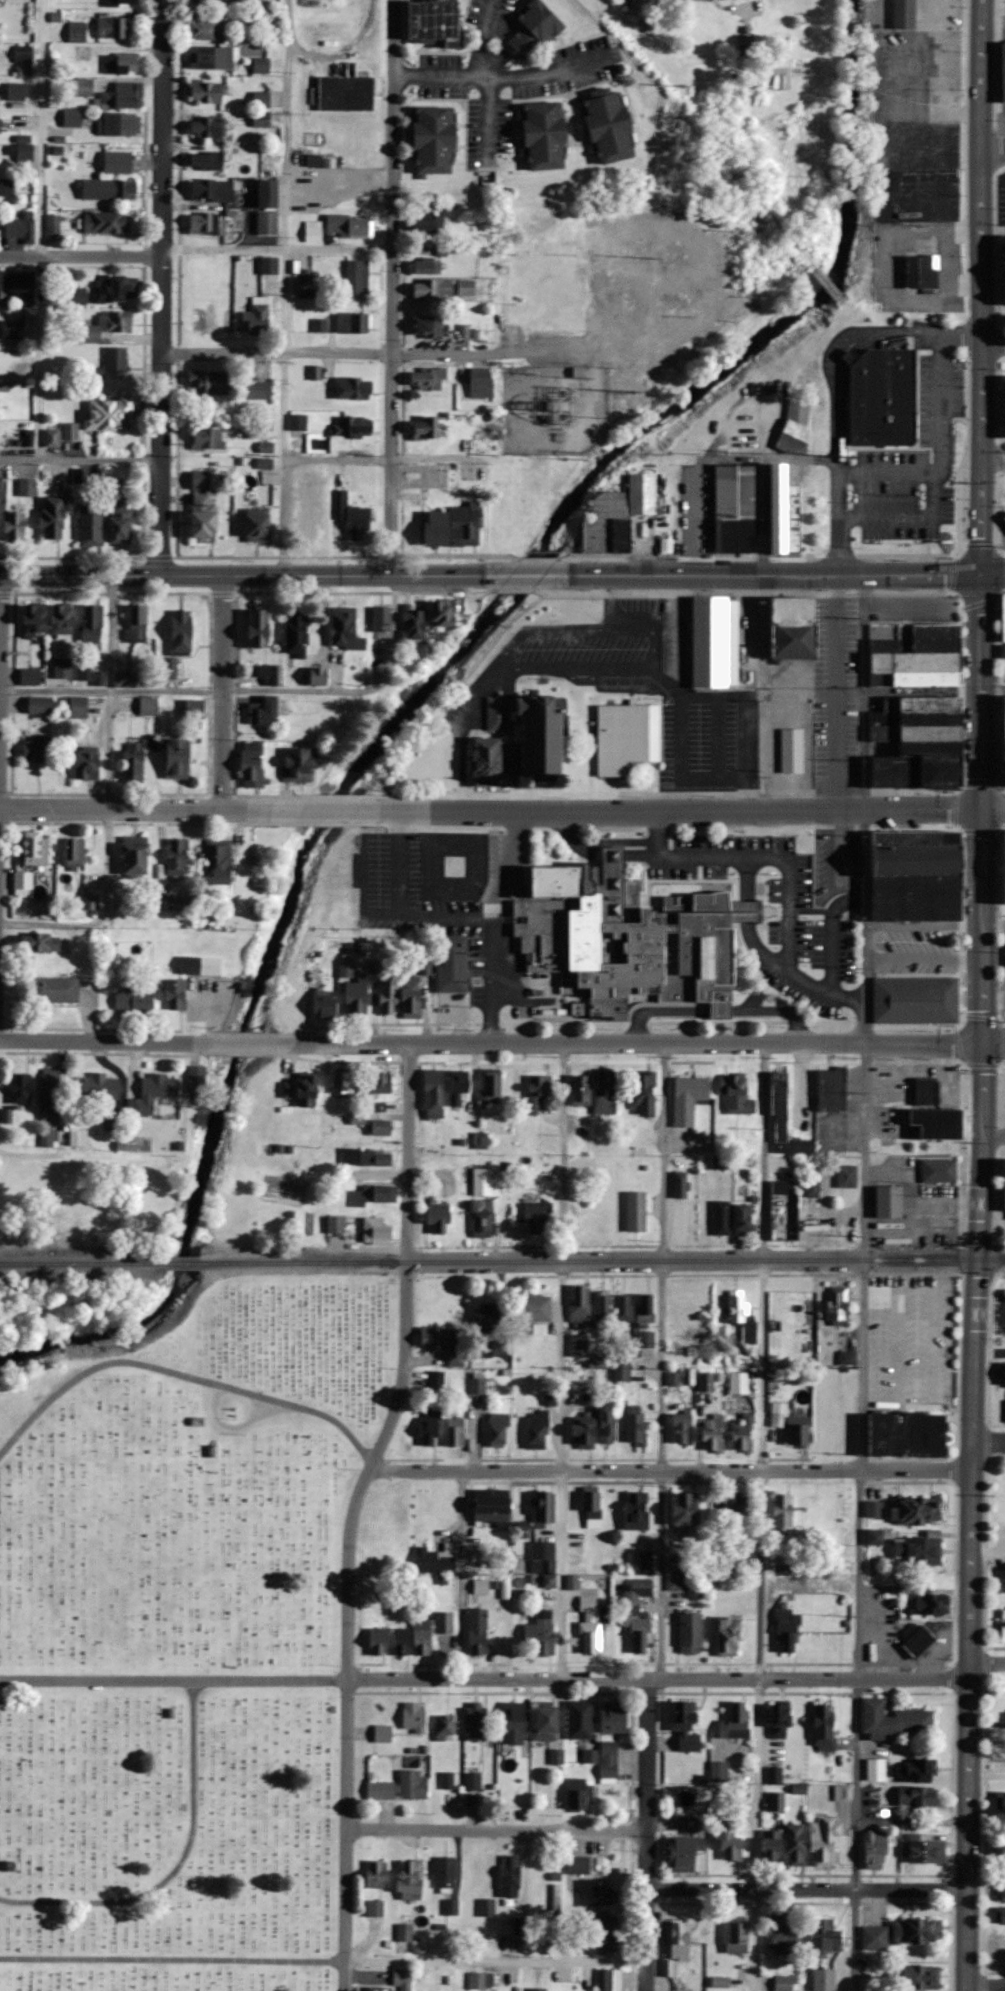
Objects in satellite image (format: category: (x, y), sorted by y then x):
building: (701, 0)
building: (217, 1)
building: (121, 3)
road: (995, 3)
road: (747, 8)
building: (905, 14)
building: (435, 22)
building: (112, 29)
building: (209, 30)
building: (534, 30)
building: (77, 32)
road: (480, 41)
building: (24, 54)
building: (211, 58)
building: (265, 62)
building: (121, 64)
building: (1002, 70)
road: (502, 81)
building: (84, 88)
building: (16, 92)
building: (207, 92)
building: (346, 94)
building: (121, 97)
building: (261, 100)
building: (72, 118)
building: (261, 119)
road: (485, 122)
building: (119, 125)
building: (207, 126)
building: (0, 127)
road: (164, 127)
building: (611, 129)
building: (546, 136)
building: (436, 141)
building: (25, 148)
road: (995, 151)
building: (206, 160)
building: (314, 161)
building: (118, 163)
road: (394, 176)
road: (339, 179)
building: (6, 187)
building: (122, 190)
building: (212, 190)
building: (268, 194)
building: (434, 220)
building: (267, 223)
building: (107, 224)
building: (207, 224)
building: (351, 227)
building: (21, 229)
building: (313, 231)
road: (277, 248)
road: (81, 255)
building: (269, 266)
building: (427, 267)
building: (920, 269)
building: (212, 271)
building: (302, 276)
building: (357, 276)
building: (13, 280)
road: (285, 284)
building: (0, 285)
road: (984, 286)
road: (38, 288)
building: (467, 288)
building: (434, 289)
building: (115, 290)
building: (1004, 295)
building: (76, 296)
road: (162, 304)
building: (260, 315)
building: (229, 320)
building: (353, 324)
building: (320, 325)
building: (107, 326)
building: (429, 327)
building: (12, 329)
road: (994, 339)
road: (277, 354)
road: (517, 354)
road: (831, 357)
building: (116, 360)
building: (428, 379)
building: (210, 383)
building: (481, 386)
building: (354, 388)
building: (259, 390)
building: (880, 394)
power substation: (553, 407)
building: (109, 415)
building: (298, 422)
building: (796, 423)
building: (351, 428)
building: (426, 429)
building: (53, 439)
building: (209, 440)
road: (994, 455)
road: (1003, 456)
road: (20, 458)
road: (391, 464)
road: (159, 465)
building: (305, 475)
road: (928, 477)
road: (693, 481)
building: (27, 488)
building: (0, 489)
building: (203, 506)
building: (736, 507)
building: (786, 514)
building: (619, 516)
building: (1003, 516)
building: (352, 517)
building: (54, 518)
road: (284, 518)
building: (120, 521)
building: (311, 521)
road: (909, 523)
building: (258, 526)
building: (15, 527)
building: (91, 527)
building: (454, 527)
traffic signals: (984, 573)
road: (786, 574)
road: (527, 575)
road: (242, 576)
building: (444, 612)
building: (1002, 615)
building: (382, 618)
building: (35, 619)
building: (62, 619)
building: (136, 622)
building: (414, 622)
building: (92, 623)
building: (794, 626)
building: (259, 627)
building: (346, 628)
building: (912, 629)
building: (182, 631)
building: (297, 633)
building: (714, 643)
building: (911, 644)
building: (1003, 649)
building: (913, 661)
building: (62, 667)
building: (89, 670)
building: (271, 673)
building: (30, 676)
building: (319, 676)
building: (913, 678)
building: (125, 679)
river: (432, 686)
road: (994, 688)
road: (357, 690)
road: (111, 691)
road: (223, 692)
road: (858, 692)
building: (921, 702)
building: (41, 704)
building: (1004, 704)
building: (148, 706)
building: (79, 707)
building: (195, 708)
building: (264, 710)
building: (914, 716)
building: (1004, 725)
building: (914, 732)
building: (831, 734)
building: (627, 736)
building: (524, 740)
building: (914, 747)
building: (37, 748)
building: (792, 749)
building: (1004, 749)
building: (178, 758)
building: (88, 762)
building: (134, 762)
building: (252, 763)
building: (299, 764)
building: (914, 770)
building: (1004, 773)
road: (107, 800)
road: (133, 808)
road: (324, 809)
traffic signals: (981, 809)
road: (692, 812)
building: (36, 851)
building: (913, 851)
building: (75, 853)
building: (177, 856)
road: (861, 857)
building: (135, 858)
building: (218, 861)
building: (1003, 862)
road: (788, 871)
building: (23, 879)
building: (913, 894)
building: (90, 900)
building: (120, 900)
building: (1003, 907)
road: (993, 924)
building: (628, 936)
road: (829, 936)
building: (42, 941)
building: (1004, 959)
building: (452, 963)
building: (199, 965)
road: (864, 973)
building: (55, 989)
building: (176, 994)
building: (357, 996)
building: (388, 996)
building: (412, 997)
building: (914, 998)
building: (134, 1000)
building: (325, 1003)
road: (105, 1042)
road: (640, 1042)
road: (243, 1043)
traffic signals: (982, 1044)
building: (197, 1079)
building: (86, 1080)
building: (341, 1082)
road: (802, 1082)
building: (459, 1085)
building: (22, 1088)
building: (491, 1089)
building: (307, 1090)
building: (580, 1090)
building: (831, 1090)
building: (380, 1091)
building: (52, 1092)
building: (537, 1092)
building: (642, 1092)
building: (927, 1092)
building: (154, 1093)
building: (434, 1093)
building: (605, 1094)
building: (736, 1094)
building: (689, 1098)
building: (110, 1110)
building: (357, 1119)
building: (785, 1120)
building: (936, 1123)
building: (379, 1127)
building: (433, 1136)
building: (79, 1137)
building: (49, 1138)
building: (481, 1140)
road: (993, 1140)
road: (562, 1150)
building: (368, 1157)
building: (721, 1162)
building: (939, 1171)
building: (847, 1176)
building: (484, 1183)
building: (681, 1185)
building: (1004, 1187)
building: (782, 1188)
building: (812, 1189)
building: (375, 1195)
building: (894, 1200)
building: (636, 1212)
building: (537, 1217)
building: (722, 1217)
building: (440, 1219)
building: (482, 1219)
building: (743, 1219)
building: (336, 1224)
building: (784, 1228)
building: (376, 1232)
road: (692, 1255)
railway: (180, 1260)
railway: (601, 1261)
railway: (81, 1262)
road: (976, 1282)
building: (780, 1305)
building: (838, 1305)
building: (580, 1307)
building: (601, 1307)
building: (534, 1308)
building: (646, 1308)
building: (624, 1309)
building: (802, 1310)
building: (742, 1317)
building: (485, 1319)
building: (645, 1339)
building: (446, 1342)
building: (578, 1345)
road: (662, 1359)
building: (623, 1368)
building: (1004, 1373)
road: (182, 1374)
building: (435, 1379)
building: (706, 1381)
building: (739, 1382)
building: (477, 1385)
building: (840, 1421)
building: (606, 1423)
building: (430, 1427)
building: (636, 1428)
building: (683, 1428)
building: (795, 1428)
building: (498, 1429)
building: (456, 1430)
building: (538, 1430)
building: (584, 1432)
building: (714, 1434)
building: (742, 1434)
building: (907, 1434)
road: (989, 1440)
road: (559, 1467)
road: (672, 1469)
building: (736, 1500)
building: (545, 1509)
building: (593, 1509)
building: (875, 1509)
building: (636, 1510)
building: (686, 1510)
building: (921, 1510)
building: (492, 1511)
road: (353, 1512)
building: (783, 1514)
road: (761, 1516)
building: (875, 1537)
road: (989, 1549)
building: (923, 1551)
building: (545, 1558)
building: (435, 1559)
building: (646, 1562)
building: (798, 1564)
building: (725, 1565)
road: (459, 1574)
building: (677, 1574)
building: (638, 1591)
building: (927, 1602)
building: (1003, 1622)
building: (592, 1625)
building: (640, 1630)
building: (787, 1630)
building: (478, 1632)
building: (690, 1634)
building: (422, 1635)
building: (541, 1636)
building: (729, 1636)
park: (182, 1639)
building: (918, 1640)
building: (379, 1642)
road: (988, 1659)
road: (658, 1678)
road: (172, 1680)
building: (414, 1716)
building: (614, 1717)
building: (781, 1718)
building: (581, 1719)
building: (475, 1720)
building: (736, 1721)
building: (895, 1721)
building: (514, 1723)
building: (546, 1723)
building: (686, 1726)
building: (824, 1727)
building: (444, 1728)
road: (859, 1729)
building: (382, 1733)
building: (590, 1755)
building: (997, 1757)
building: (609, 1759)
building: (876, 1769)
building: (916, 1770)
building: (719, 1771)
building: (774, 1775)
road: (987, 1778)
building: (448, 1780)
building: (472, 1781)
building: (414, 1784)
building: (381, 1790)
building: (842, 1792)
building: (578, 1793)
building: (918, 1796)
building: (776, 1801)
building: (1002, 1804)
building: (692, 1824)
road: (497, 1831)
road: (647, 1834)
building: (730, 1840)
building: (825, 1841)
building: (796, 1845)
building: (772, 1846)
building: (876, 1849)
building: (924, 1852)
building: (1003, 1852)
building: (685, 1853)
building: (579, 1865)
road: (176, 1866)
building: (446, 1873)
building: (377, 1874)
road: (987, 1876)
building: (511, 1877)
building: (411, 1880)
road: (807, 1890)
building: (1001, 1893)
building: (599, 1894)
building: (451, 1907)
building: (375, 1908)
building: (1000, 1916)
building: (552, 1917)
building: (519, 1927)
building: (918, 1931)
building: (405, 1932)
building: (784, 1933)
building: (601, 1934)
building: (736, 1938)
building: (875, 1938)
building: (681, 1940)
road: (171, 1960)
road: (495, 1962)
building: (841, 1962)
building: (403, 1979)
building: (920, 1979)
building: (612, 1980)
building: (481, 1982)
building: (720, 1983)
building: (784, 1983)
road: (986, 1987)
building: (385, 1989)
building: (538, 1990)

